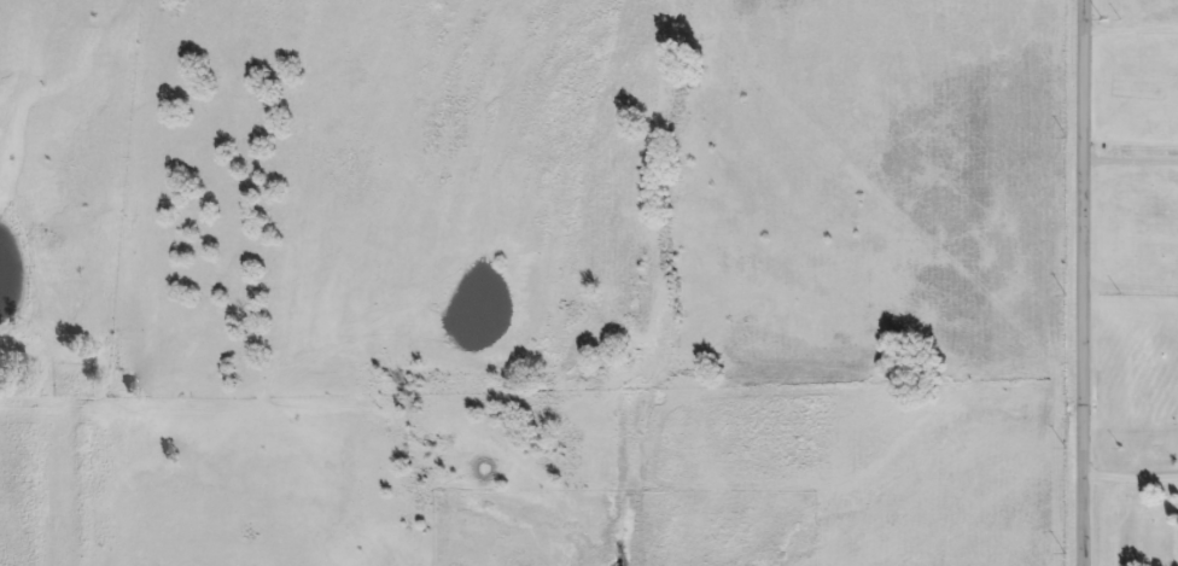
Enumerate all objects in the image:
road: (1130, 30)
road: (1131, 162)
road: (1084, 282)
road: (1131, 288)
road: (1132, 477)

